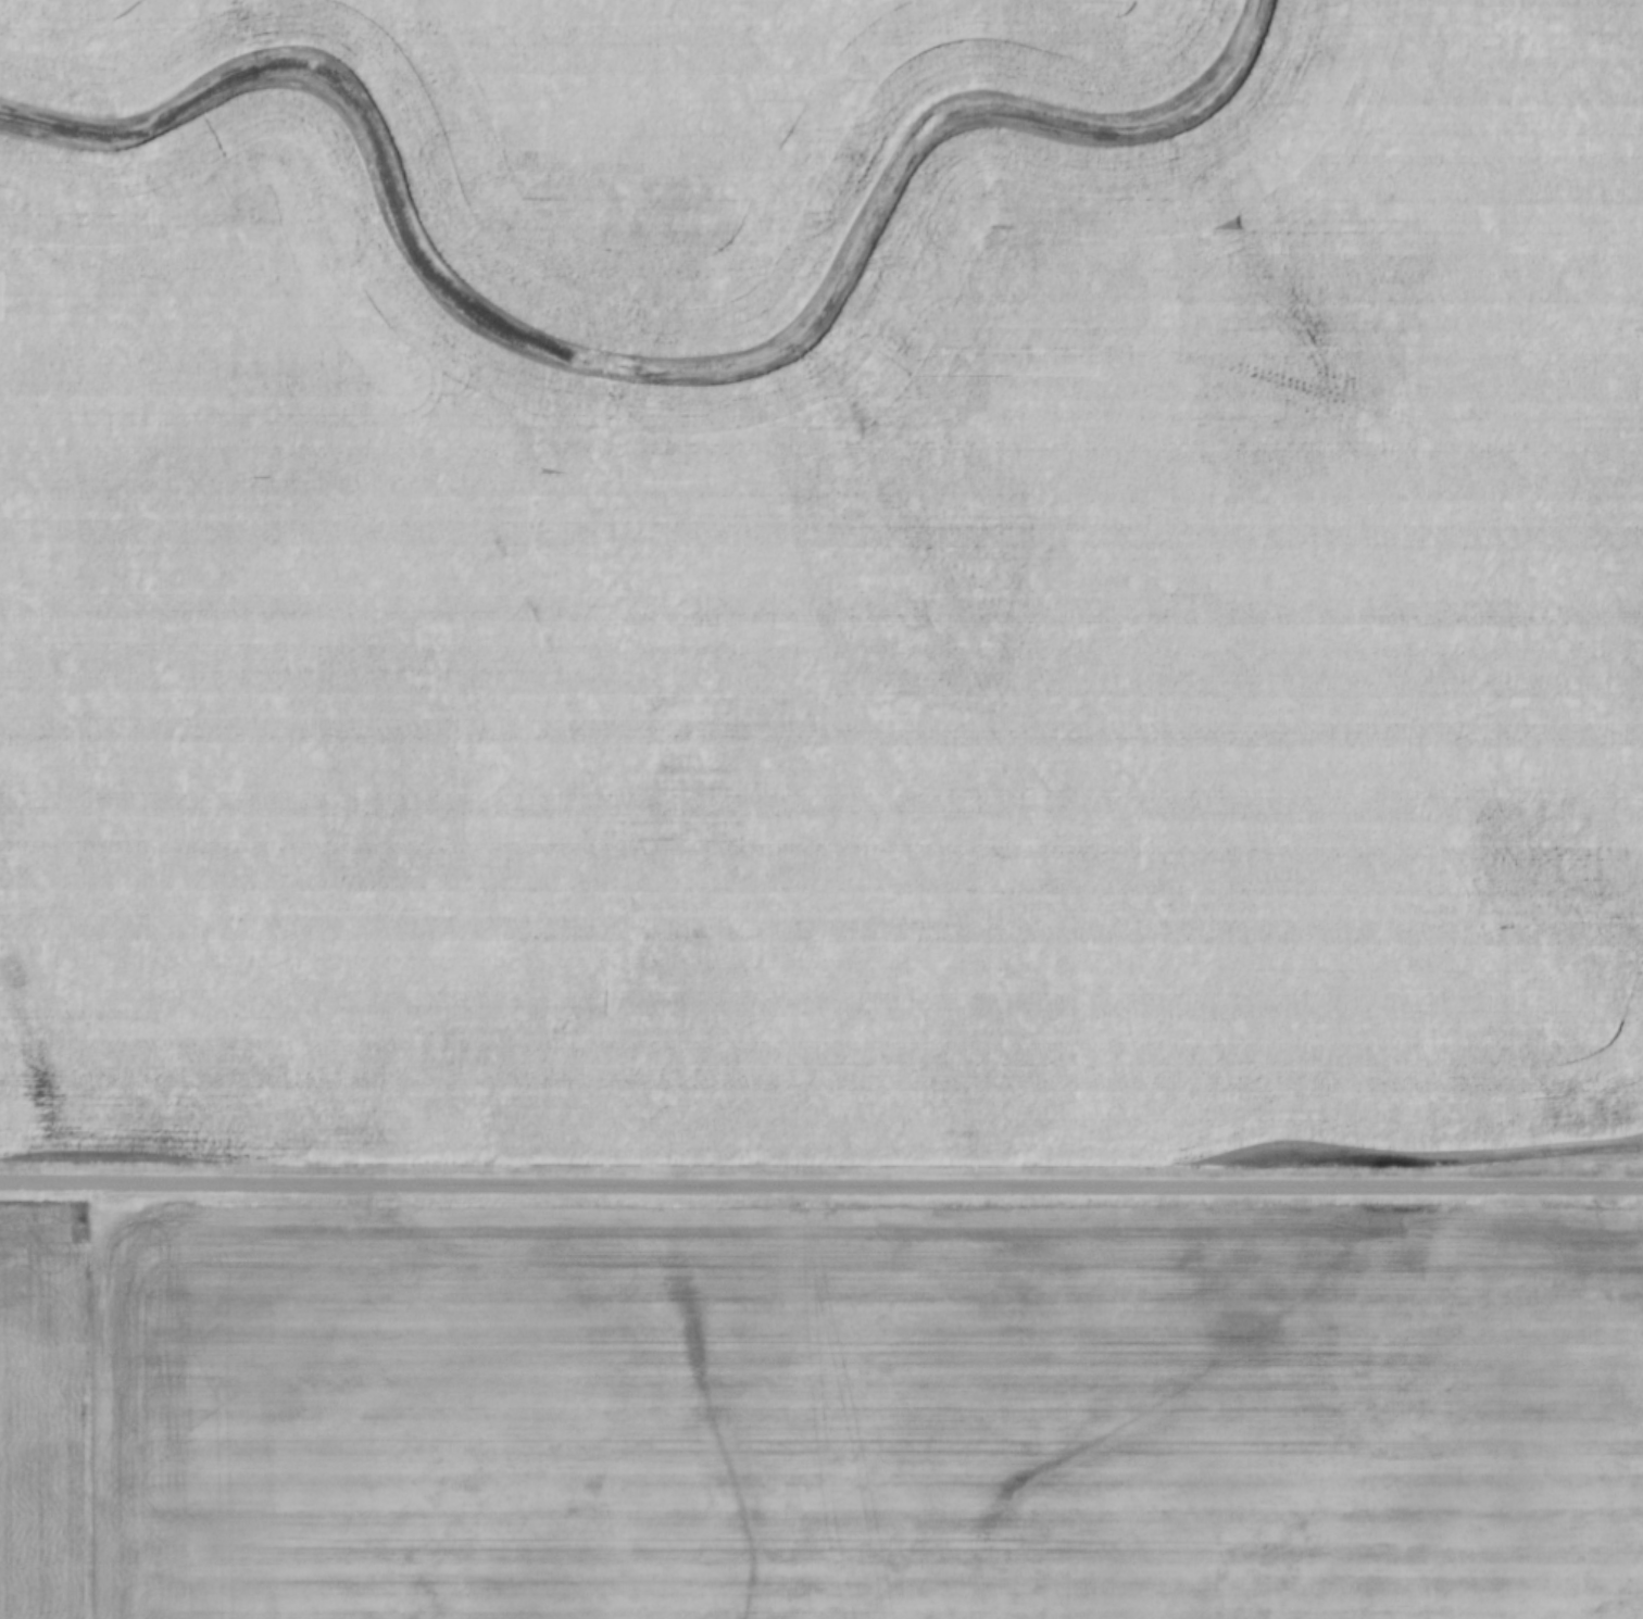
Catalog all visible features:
road: (820, 1183)

